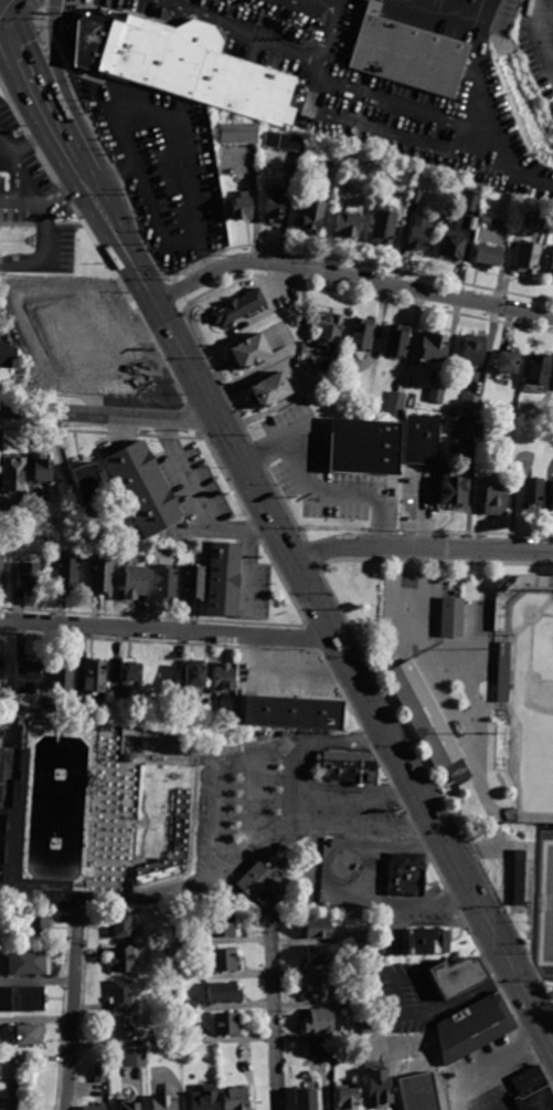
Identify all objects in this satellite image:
road: (319, 1)
road: (334, 1)
road: (461, 6)
road: (3, 10)
road: (15, 10)
road: (3, 20)
traffic signals: (7, 20)
road: (243, 31)
road: (539, 33)
road: (325, 42)
building: (410, 55)
road: (54, 59)
building: (184, 63)
road: (482, 63)
road: (25, 69)
road: (444, 116)
road: (383, 128)
building: (241, 134)
road: (6, 137)
road: (33, 137)
building: (286, 143)
road: (6, 150)
road: (178, 151)
road: (70, 153)
building: (331, 169)
road: (25, 175)
road: (62, 190)
building: (416, 196)
road: (20, 200)
building: (471, 202)
building: (243, 208)
building: (276, 209)
building: (312, 217)
building: (487, 220)
building: (475, 223)
building: (348, 227)
building: (385, 228)
road: (47, 232)
building: (419, 235)
flagpole: (32, 241)
building: (454, 248)
road: (198, 255)
building: (489, 256)
building: (529, 259)
road: (24, 265)
building: (551, 272)
road: (350, 279)
building: (51, 302)
building: (113, 305)
building: (238, 310)
building: (332, 333)
building: (363, 335)
building: (398, 342)
building: (434, 347)
building: (475, 350)
building: (253, 352)
building: (9, 357)
building: (62, 360)
building: (509, 364)
building: (539, 369)
building: (36, 377)
building: (272, 391)
building: (162, 394)
building: (436, 396)
building: (472, 402)
building: (396, 405)
road: (109, 416)
building: (523, 419)
building: (467, 430)
building: (483, 431)
building: (425, 437)
building: (363, 448)
building: (44, 469)
building: (15, 475)
building: (89, 484)
building: (147, 486)
road: (318, 491)
building: (552, 492)
building: (455, 494)
building: (533, 494)
building: (497, 496)
road: (200, 501)
road: (422, 549)
building: (54, 561)
building: (2, 570)
building: (70, 575)
building: (32, 577)
building: (104, 577)
building: (227, 579)
building: (136, 583)
building: (167, 583)
building: (196, 584)
road: (412, 591)
building: (458, 617)
road: (323, 619)
building: (512, 627)
road: (167, 629)
building: (1, 669)
building: (132, 672)
building: (28, 676)
building: (64, 676)
building: (96, 677)
building: (196, 678)
building: (226, 680)
stadium: (529, 688)
building: (100, 706)
building: (296, 713)
building: (425, 716)
park: (540, 719)
road: (343, 742)
park: (107, 744)
park: (159, 750)
building: (130, 760)
building: (349, 767)
road: (297, 784)
road: (327, 785)
road: (259, 797)
road: (357, 797)
road: (219, 821)
road: (365, 828)
building: (21, 839)
road: (373, 860)
building: (407, 877)
road: (333, 879)
building: (520, 879)
building: (266, 882)
road: (538, 887)
park: (546, 908)
park: (551, 925)
building: (124, 928)
building: (224, 928)
building: (317, 929)
building: (39, 931)
building: (364, 936)
building: (427, 942)
building: (325, 956)
building: (123, 961)
building: (225, 962)
building: (364, 962)
building: (30, 964)
building: (386, 972)
building: (189, 975)
building: (458, 980)
road: (552, 980)
road: (38, 981)
building: (322, 989)
building: (225, 994)
building: (125, 998)
building: (368, 999)
building: (29, 1002)
building: (191, 1007)
road: (274, 1009)
road: (72, 1013)
building: (321, 1022)
building: (369, 1025)
building: (227, 1026)
building: (123, 1029)
building: (475, 1029)
building: (31, 1037)
building: (192, 1039)
building: (173, 1040)
building: (2, 1044)
building: (318, 1050)
building: (137, 1059)
road: (490, 1066)
building: (1, 1068)
building: (100, 1076)
building: (380, 1091)
building: (532, 1091)
building: (426, 1095)
building: (208, 1098)
building: (237, 1099)
building: (308, 1100)
building: (351, 1101)
building: (166, 1102)
building: (95, 1108)
building: (131, 1108)
building: (4, 1109)
building: (24, 1109)

